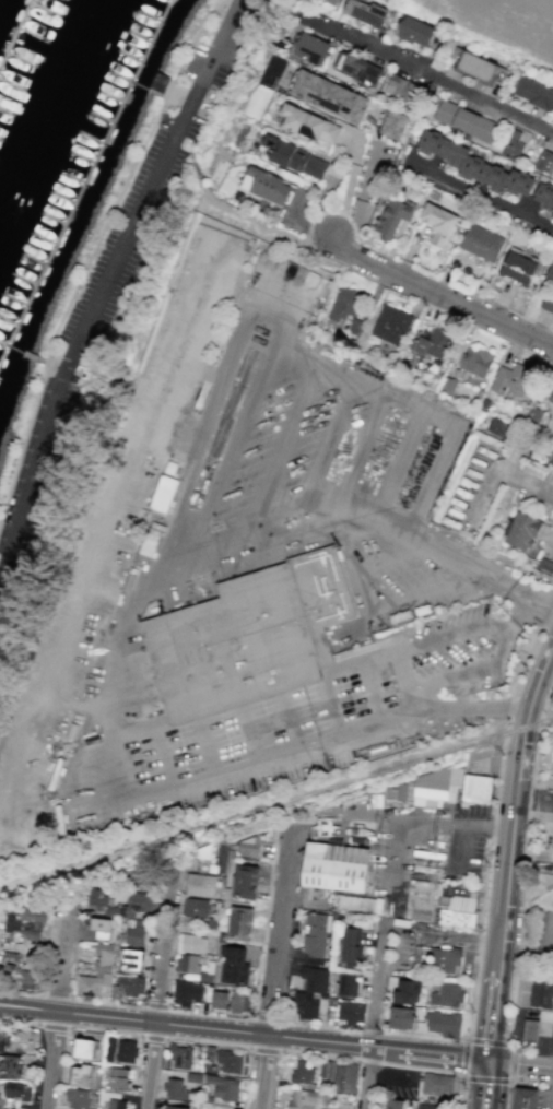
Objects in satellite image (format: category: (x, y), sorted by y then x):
building: (332, 1)
building: (365, 12)
building: (413, 31)
pier: (17, 35)
pier: (155, 40)
building: (308, 48)
building: (476, 67)
building: (356, 68)
road: (430, 73)
building: (402, 90)
building: (533, 93)
building: (328, 95)
building: (463, 120)
building: (392, 123)
building: (308, 125)
building: (511, 145)
building: (293, 157)
building: (543, 161)
building: (471, 163)
building: (266, 186)
road: (348, 189)
road: (480, 192)
building: (543, 194)
pier: (73, 209)
building: (391, 217)
building: (552, 217)
building: (437, 224)
road: (261, 232)
building: (480, 243)
road: (93, 247)
building: (517, 269)
building: (549, 274)
road: (108, 279)
parking lot: (109, 283)
road: (442, 297)
building: (342, 306)
building: (390, 325)
building: (431, 342)
pier: (23, 352)
building: (475, 361)
building: (510, 380)
building: (550, 398)
building: (497, 427)
road: (511, 459)
building: (551, 461)
road: (501, 471)
building: (162, 493)
parking lot: (539, 507)
road: (315, 527)
building: (520, 530)
building: (544, 565)
road: (473, 568)
road: (543, 610)
road: (515, 622)
building: (256, 628)
road: (444, 638)
road: (404, 681)
road: (403, 713)
road: (536, 738)
building: (436, 787)
building: (475, 788)
road: (532, 798)
road: (511, 801)
road: (532, 802)
railway: (276, 804)
road: (493, 815)
road: (466, 825)
parking lot: (467, 842)
building: (250, 846)
building: (220, 858)
building: (336, 868)
road: (395, 870)
building: (244, 881)
building: (200, 885)
road: (528, 896)
building: (96, 898)
building: (357, 904)
building: (136, 905)
building: (195, 907)
building: (458, 911)
building: (32, 913)
road: (522, 919)
building: (12, 921)
building: (240, 922)
building: (101, 928)
building: (32, 930)
park: (540, 931)
building: (137, 933)
park: (545, 934)
building: (316, 935)
building: (191, 943)
road: (528, 946)
building: (350, 947)
road: (163, 955)
building: (446, 956)
building: (131, 959)
building: (188, 963)
building: (232, 964)
road: (275, 971)
building: (97, 972)
building: (19, 977)
building: (314, 979)
building: (348, 983)
building: (405, 990)
building: (541, 992)
building: (186, 993)
building: (446, 994)
building: (219, 999)
building: (239, 1001)
building: (304, 1005)
road: (59, 1011)
building: (350, 1012)
road: (491, 1012)
road: (376, 1015)
building: (401, 1016)
road: (19, 1019)
building: (443, 1022)
road: (52, 1025)
building: (530, 1028)
road: (105, 1029)
road: (244, 1033)
road: (153, 1038)
building: (1, 1039)
building: (21, 1040)
road: (207, 1040)
building: (83, 1048)
road: (509, 1048)
road: (264, 1049)
road: (463, 1049)
building: (126, 1051)
building: (210, 1052)
building: (180, 1057)
traffic signals: (490, 1059)
building: (228, 1060)
road: (520, 1063)
road: (387, 1064)
building: (11, 1065)
road: (150, 1065)
building: (325, 1069)
building: (302, 1072)
building: (80, 1075)
road: (509, 1076)
building: (344, 1077)
building: (118, 1078)
road: (530, 1079)
building: (437, 1083)
road: (486, 1084)
building: (224, 1087)
building: (175, 1088)
building: (16, 1090)
road: (506, 1095)
road: (551, 1095)
building: (77, 1098)
building: (304, 1098)
building: (525, 1098)
parking lot: (544, 1098)
building: (117, 1104)
building: (392, 1104)
building: (428, 1106)
building: (177, 1107)
building: (3, 1108)

